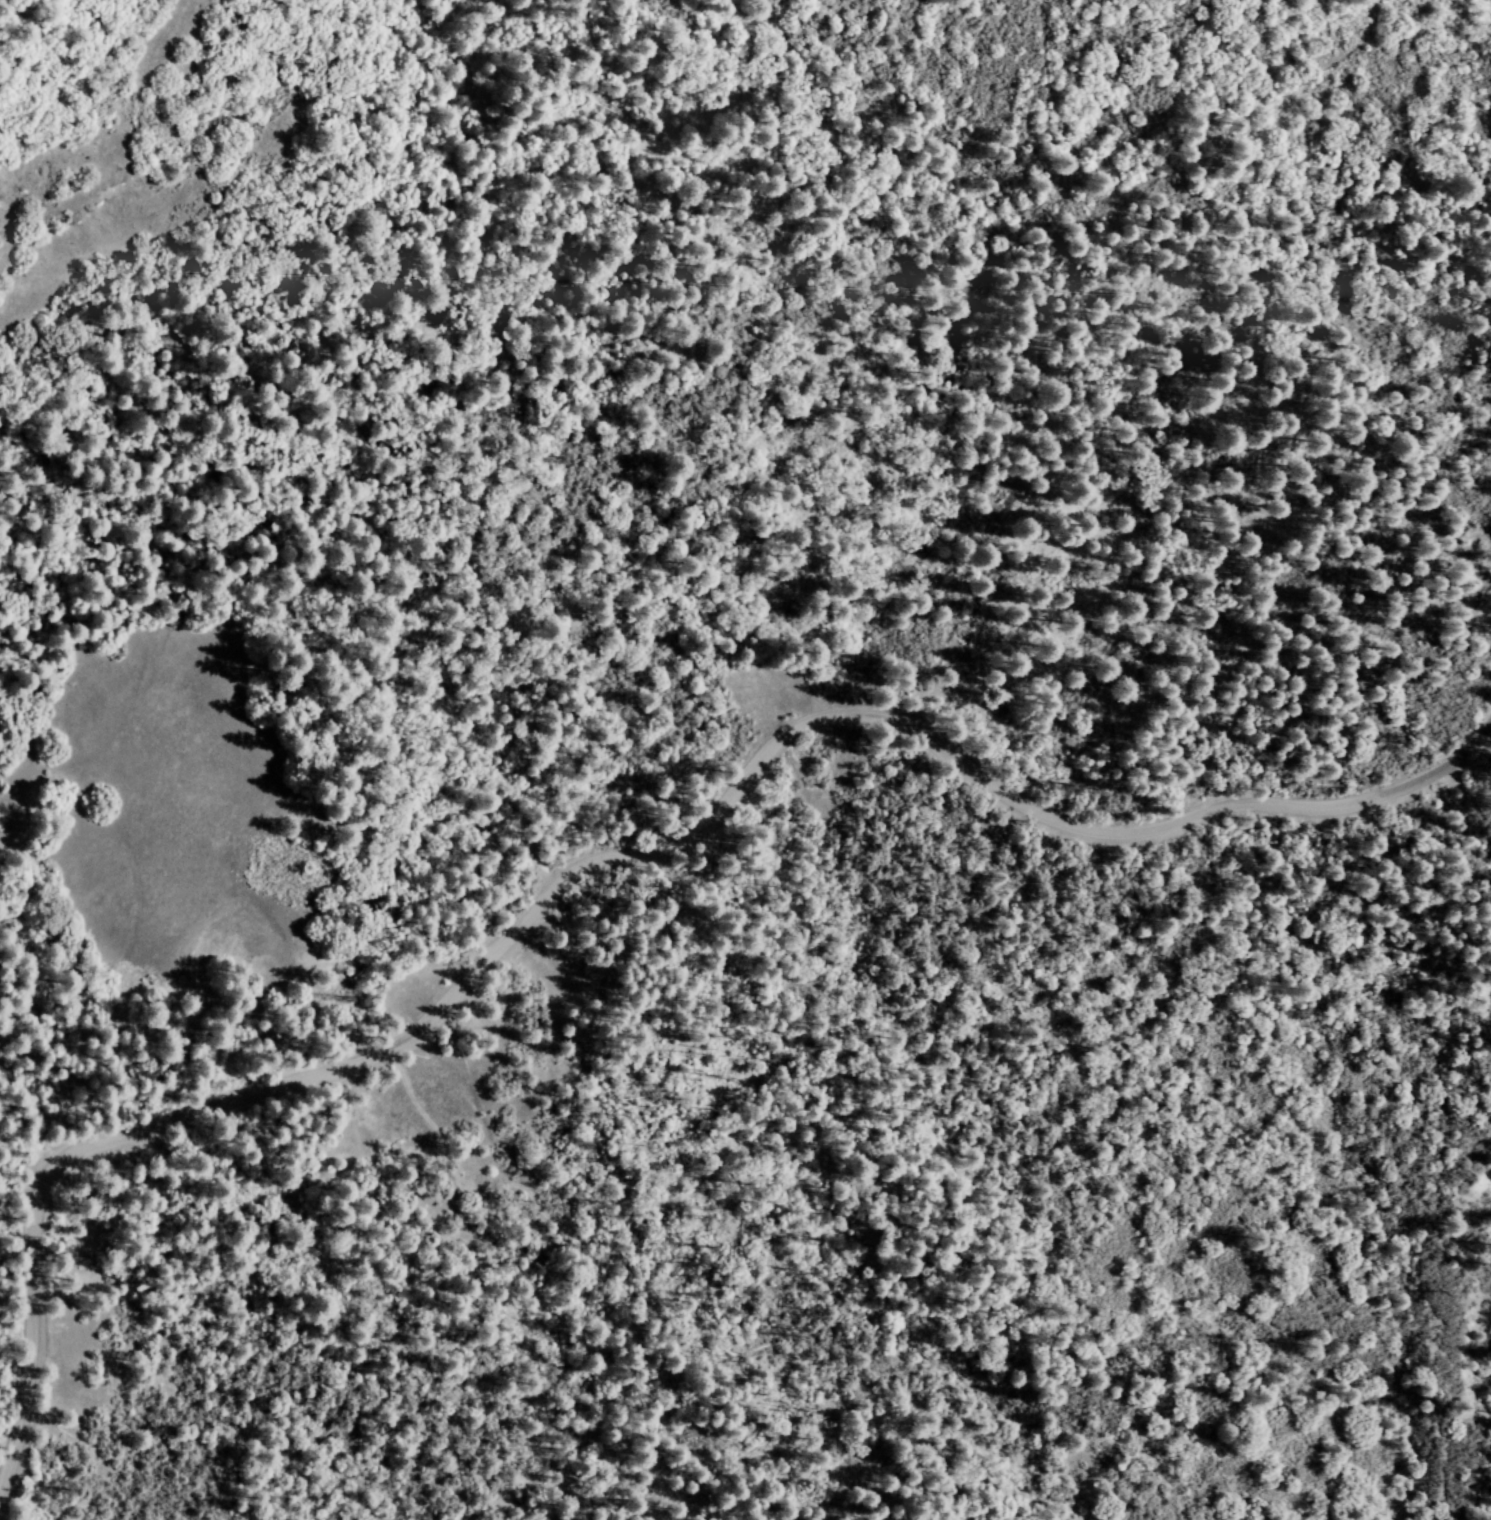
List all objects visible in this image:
road: (1150, 377)
park: (682, 457)
road: (1473, 741)
road: (593, 863)
park: (844, 1195)

